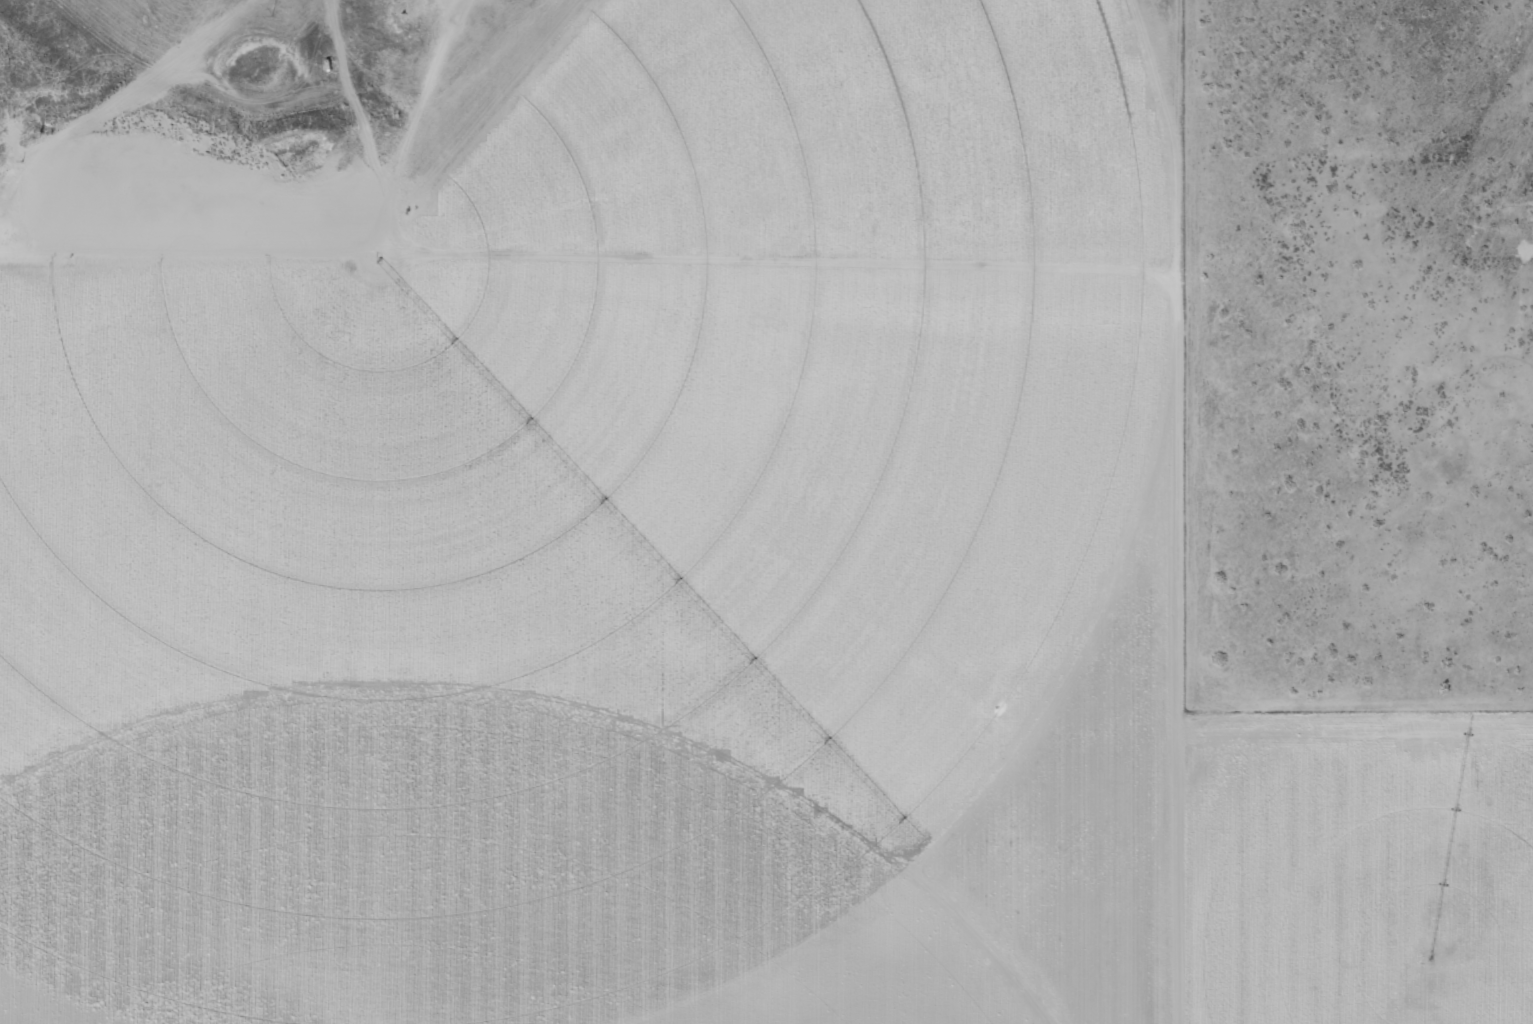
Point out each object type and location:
road: (701, 126)

